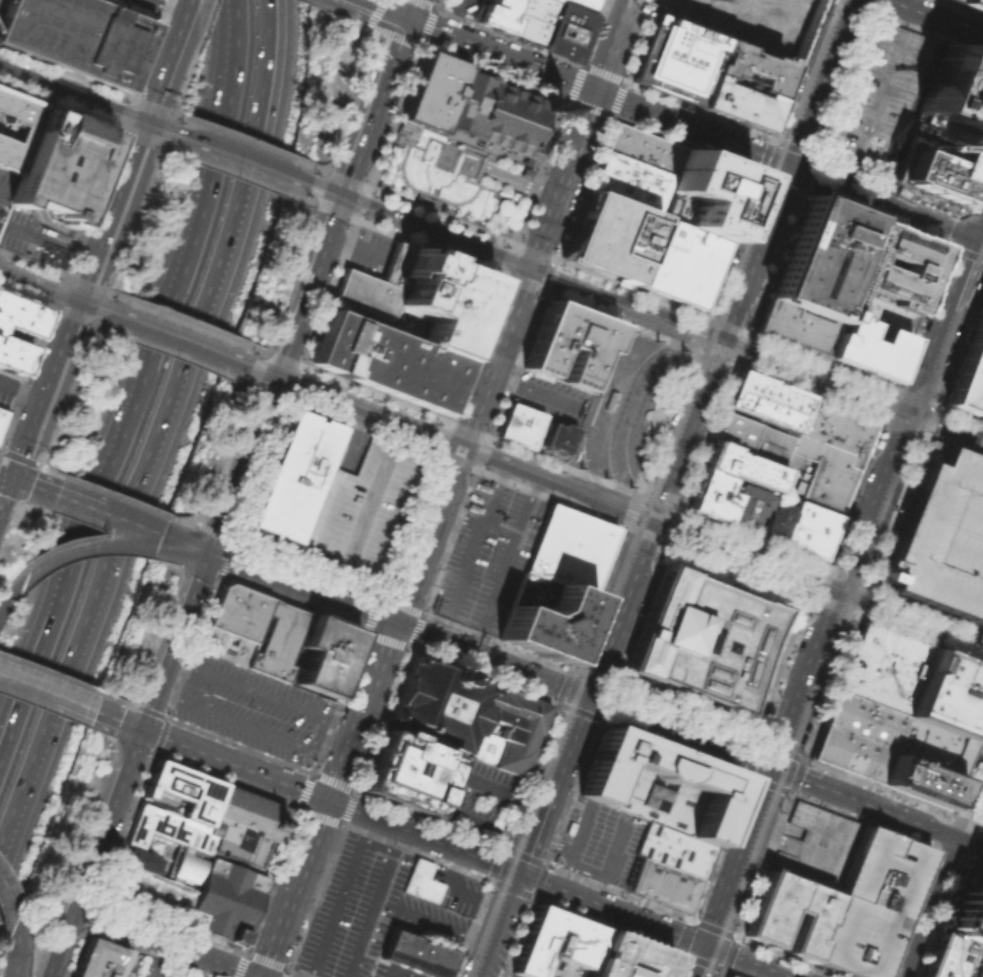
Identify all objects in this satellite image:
road: (307, 0)
building: (954, 0)
road: (153, 3)
building: (583, 4)
building: (972, 4)
road: (853, 5)
road: (869, 5)
parking lot: (140, 7)
parking lot: (461, 7)
road: (387, 8)
road: (174, 11)
building: (495, 14)
road: (454, 16)
road: (903, 16)
traffic signals: (409, 17)
road: (937, 17)
road: (203, 18)
building: (532, 20)
road: (363, 30)
building: (567, 30)
building: (77, 36)
building: (677, 58)
road: (168, 59)
building: (753, 67)
road: (798, 69)
road: (182, 77)
road: (614, 77)
road: (817, 82)
building: (955, 89)
road: (354, 90)
traffic signals: (595, 91)
road: (623, 91)
road: (84, 95)
building: (876, 97)
parking lot: (876, 97)
road: (871, 98)
railway: (83, 102)
building: (738, 103)
railway: (787, 104)
road: (152, 105)
building: (474, 107)
road: (171, 111)
road: (699, 111)
road: (173, 115)
traffic signals: (146, 120)
road: (785, 120)
road: (695, 128)
building: (27, 130)
building: (945, 132)
road: (453, 135)
road: (235, 136)
road: (394, 138)
road: (773, 139)
road: (481, 146)
building: (643, 147)
road: (472, 150)
road: (868, 150)
road: (466, 151)
road: (241, 155)
road: (527, 161)
railway: (240, 162)
traffic signals: (786, 164)
building: (60, 165)
road: (448, 166)
building: (933, 166)
road: (548, 168)
road: (228, 172)
road: (843, 172)
road: (335, 176)
building: (630, 182)
road: (519, 183)
parking lot: (5, 187)
road: (343, 189)
road: (4, 191)
road: (423, 192)
traffic signals: (342, 193)
road: (494, 194)
building: (703, 194)
road: (426, 206)
road: (766, 217)
road: (131, 222)
road: (495, 222)
parking lot: (20, 230)
building: (609, 236)
traffic signals: (977, 237)
road: (50, 242)
road: (354, 243)
road: (514, 246)
building: (51, 254)
parking lot: (367, 254)
road: (976, 256)
building: (818, 257)
road: (517, 259)
building: (678, 262)
traffic signals: (529, 264)
building: (394, 265)
building: (893, 265)
road: (86, 283)
road: (972, 284)
railway: (60, 288)
railway: (968, 288)
road: (103, 289)
building: (364, 294)
road: (59, 296)
road: (78, 298)
building: (442, 299)
road: (732, 302)
traffic signals: (77, 303)
railway: (627, 310)
building: (875, 312)
road: (180, 318)
road: (942, 323)
building: (792, 326)
building: (18, 330)
railway: (175, 331)
road: (407, 332)
railway: (713, 334)
traffic signals: (720, 336)
road: (172, 339)
road: (695, 339)
road: (959, 342)
building: (568, 345)
road: (442, 346)
building: (862, 347)
road: (167, 352)
railway: (243, 357)
road: (477, 359)
building: (383, 360)
road: (240, 365)
road: (735, 365)
building: (968, 371)
road: (815, 372)
road: (135, 376)
traffic signals: (274, 379)
road: (21, 391)
railway: (599, 395)
railway: (908, 395)
road: (65, 396)
parking lot: (549, 396)
building: (609, 399)
parking lot: (5, 400)
building: (764, 400)
road: (935, 406)
railway: (622, 407)
traffic signals: (910, 409)
railway: (637, 411)
building: (2, 417)
road: (159, 421)
road: (881, 421)
road: (946, 422)
building: (519, 424)
road: (913, 431)
railway: (911, 432)
road: (969, 435)
building: (557, 437)
building: (750, 437)
railway: (933, 437)
railway: (962, 438)
road: (352, 440)
road: (442, 441)
road: (954, 446)
traffic signals: (459, 448)
building: (829, 452)
road: (17, 457)
road: (37, 461)
road: (240, 465)
building: (738, 465)
road: (473, 469)
road: (6, 475)
building: (295, 476)
traffic signals: (13, 478)
road: (23, 481)
road: (443, 488)
road: (490, 492)
railway: (599, 493)
road: (6, 494)
building: (709, 495)
road: (114, 496)
road: (66, 497)
road: (549, 497)
road: (662, 502)
building: (747, 505)
road: (525, 506)
road: (896, 510)
building: (362, 512)
parking lot: (362, 512)
road: (870, 516)
building: (776, 517)
road: (884, 519)
road: (626, 520)
road: (475, 521)
road: (130, 522)
road: (649, 524)
traffic signals: (649, 524)
road: (355, 528)
building: (808, 529)
road: (645, 533)
building: (941, 537)
parking lot: (941, 537)
road: (175, 540)
road: (172, 544)
building: (568, 548)
parking lot: (568, 548)
road: (86, 549)
road: (199, 549)
traffic signals: (209, 553)
parking lot: (487, 554)
road: (743, 558)
road: (222, 568)
road: (739, 569)
road: (845, 576)
road: (220, 577)
road: (604, 577)
road: (817, 581)
railway: (873, 591)
road: (839, 593)
road: (865, 593)
road: (11, 594)
traffic signals: (841, 594)
road: (619, 604)
road: (835, 604)
road: (925, 606)
road: (860, 607)
building: (237, 610)
road: (425, 613)
building: (542, 616)
road: (856, 618)
road: (463, 619)
traffic signals: (393, 622)
road: (922, 624)
railway: (962, 631)
railway: (587, 633)
building: (277, 639)
building: (702, 639)
building: (224, 644)
road: (838, 644)
road: (408, 647)
road: (576, 649)
road: (584, 652)
building: (326, 653)
railway: (835, 657)
building: (881, 667)
road: (786, 669)
road: (571, 672)
road: (50, 673)
road: (28, 685)
road: (614, 686)
road: (828, 691)
road: (261, 692)
building: (947, 694)
traffic signals: (585, 695)
road: (596, 699)
road: (75, 704)
parking lot: (252, 707)
building: (468, 714)
road: (594, 718)
road: (118, 720)
road: (601, 720)
road: (246, 726)
traffic signals: (142, 729)
building: (855, 735)
building: (929, 746)
road: (800, 758)
road: (128, 764)
traffic signals: (775, 768)
building: (407, 770)
road: (750, 775)
road: (466, 777)
road: (332, 779)
building: (916, 780)
building: (657, 784)
road: (303, 789)
building: (184, 790)
road: (766, 790)
parking lot: (476, 795)
road: (800, 795)
railway: (772, 799)
traffic signals: (326, 800)
road: (347, 806)
road: (978, 807)
road: (978, 812)
road: (318, 816)
road: (883, 820)
road: (478, 822)
railway: (528, 822)
building: (243, 825)
road: (967, 825)
road: (978, 827)
building: (166, 829)
road: (380, 838)
road: (552, 840)
parking lot: (598, 842)
road: (4, 843)
building: (816, 845)
parking lot: (816, 845)
road: (501, 846)
road: (574, 846)
road: (4, 849)
building: (673, 849)
road: (466, 853)
road: (956, 855)
building: (142, 859)
building: (556, 859)
road: (610, 859)
building: (187, 867)
road: (943, 870)
traffic signals: (516, 872)
road: (585, 872)
building: (421, 881)
building: (663, 885)
parking lot: (455, 888)
building: (149, 891)
road: (5, 895)
road: (531, 895)
road: (97, 896)
road: (339, 896)
building: (222, 899)
road: (854, 899)
road: (374, 902)
building: (870, 904)
parking lot: (870, 904)
road: (943, 906)
building: (965, 907)
parking lot: (367, 910)
road: (576, 913)
road: (431, 921)
road: (496, 924)
building: (763, 924)
road: (712, 927)
road: (683, 935)
road: (16, 937)
road: (164, 942)
building: (557, 945)
traffic signals: (708, 945)
road: (730, 953)
road: (75, 954)
road: (147, 954)
building: (415, 954)
building: (628, 958)
building: (952, 958)
road: (154, 959)
road: (266, 959)
building: (101, 960)
road: (700, 961)
road: (239, 963)
road: (200, 966)
road: (398, 970)
parking lot: (155, 971)
road: (729, 972)
road: (826, 972)
road: (286, 973)
parking lot: (381, 973)
road: (14, 974)
parking lot: (514, 975)
road: (782, 975)
building: (728, 976)

